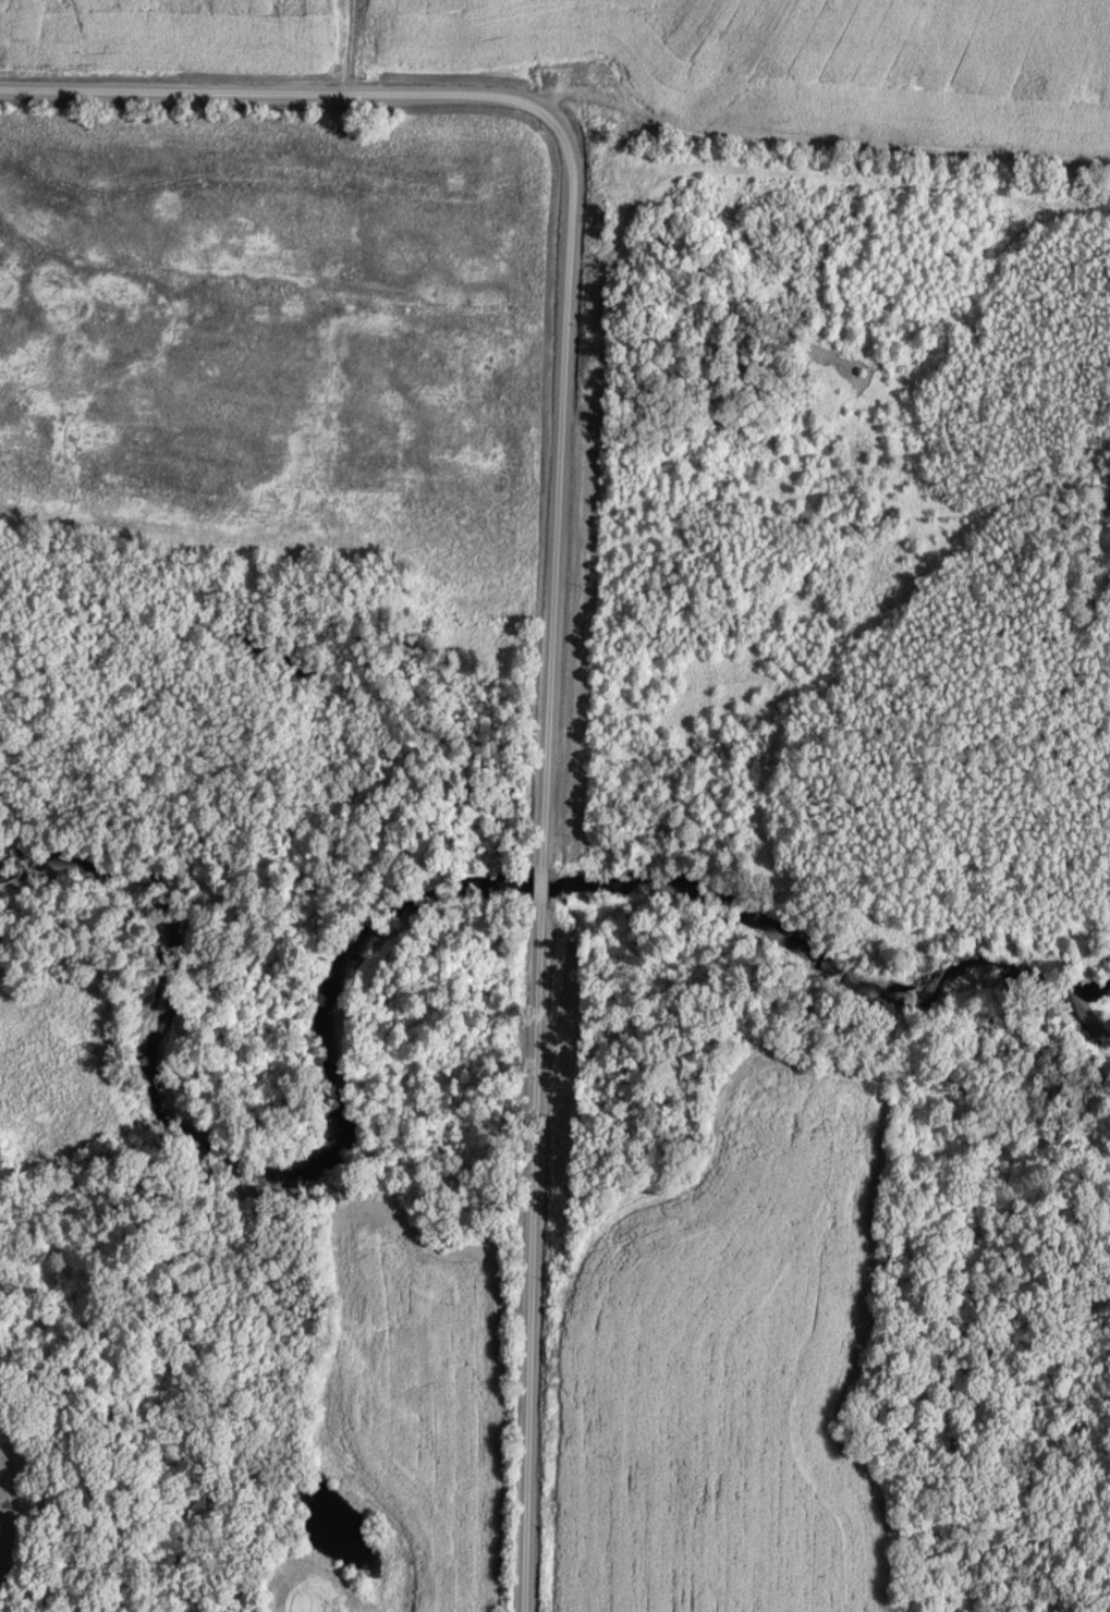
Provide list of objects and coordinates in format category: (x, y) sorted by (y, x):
road: (352, 47)
road: (554, 584)

